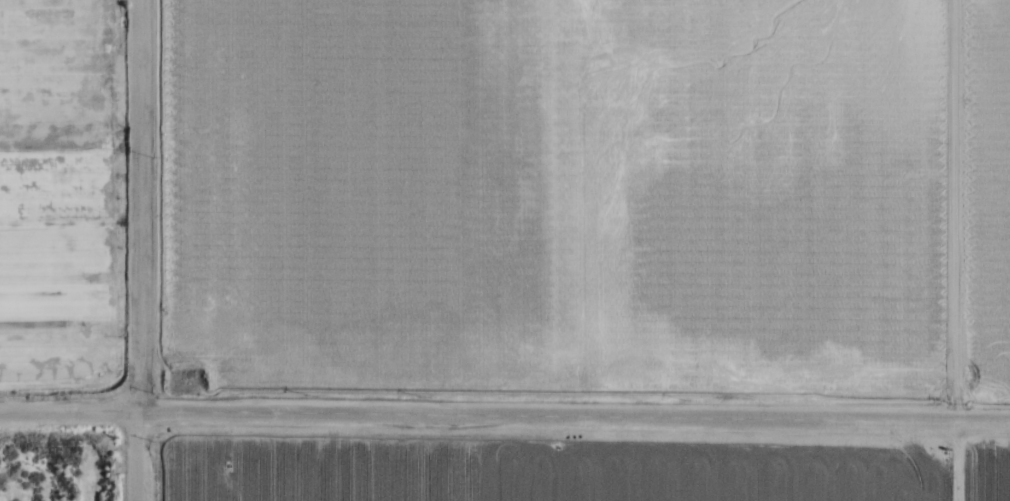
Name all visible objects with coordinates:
crop: (60, 196)
road: (137, 205)
road: (68, 413)
road: (573, 416)
road: (136, 456)

